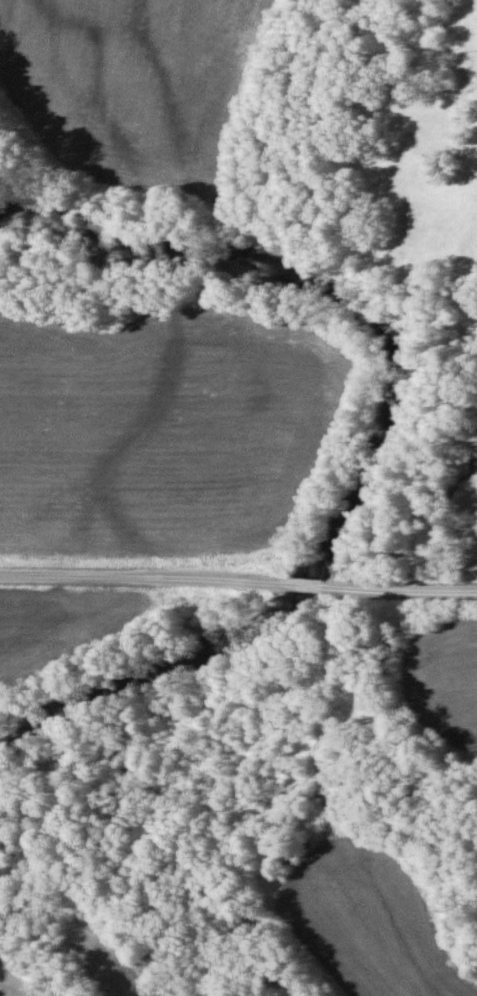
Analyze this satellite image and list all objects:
river: (392, 431)
road: (132, 575)
road: (308, 582)
road: (414, 587)

